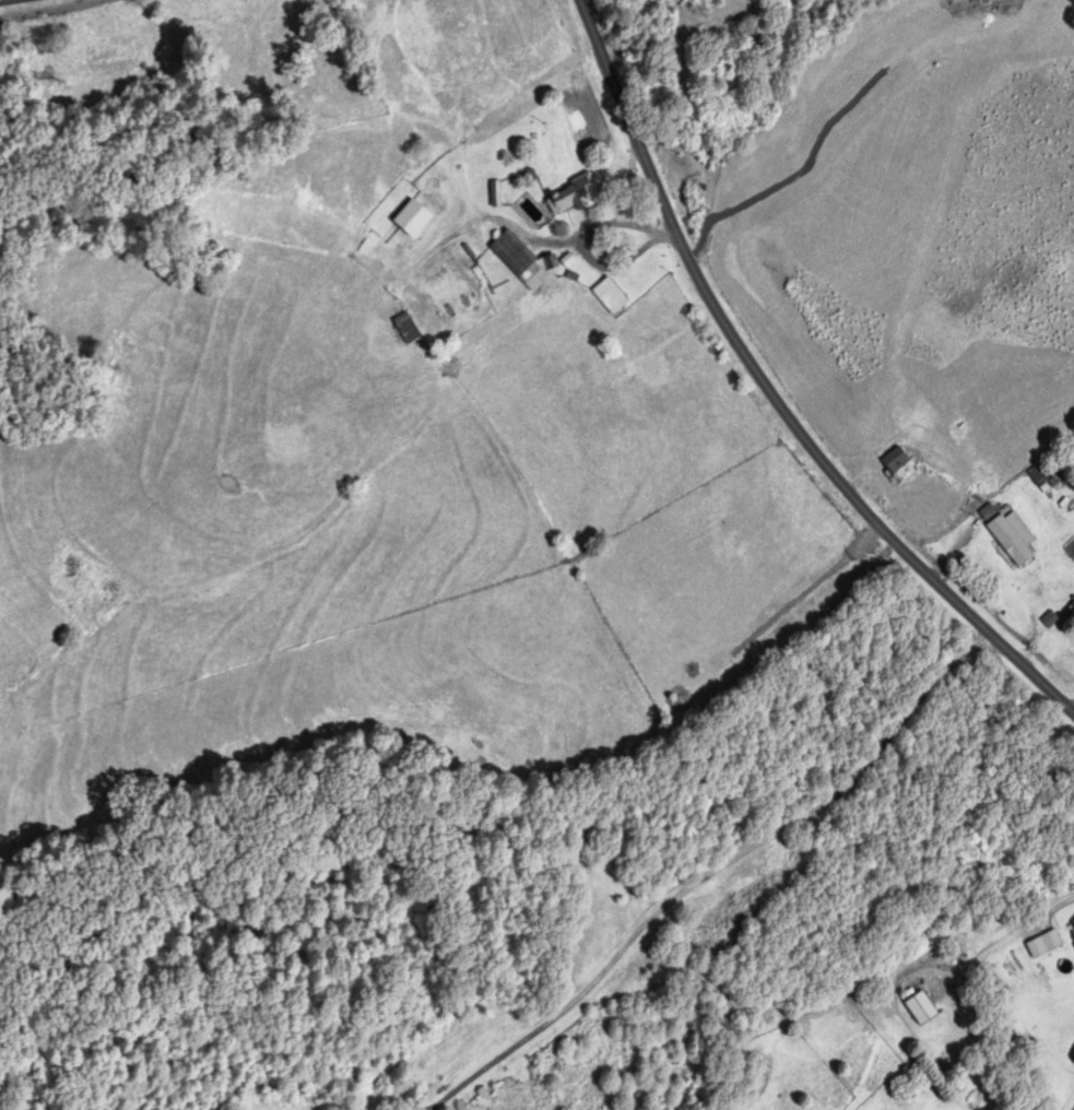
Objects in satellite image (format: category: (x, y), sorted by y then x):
building: (736, 10)
building: (571, 197)
building: (417, 233)
road: (586, 243)
building: (524, 262)
building: (610, 296)
building: (405, 328)
road: (776, 390)
building: (898, 464)
building: (987, 512)
building: (1008, 541)
building: (1073, 603)
road: (719, 873)
building: (1073, 923)
building: (920, 1008)
building: (724, 1095)

